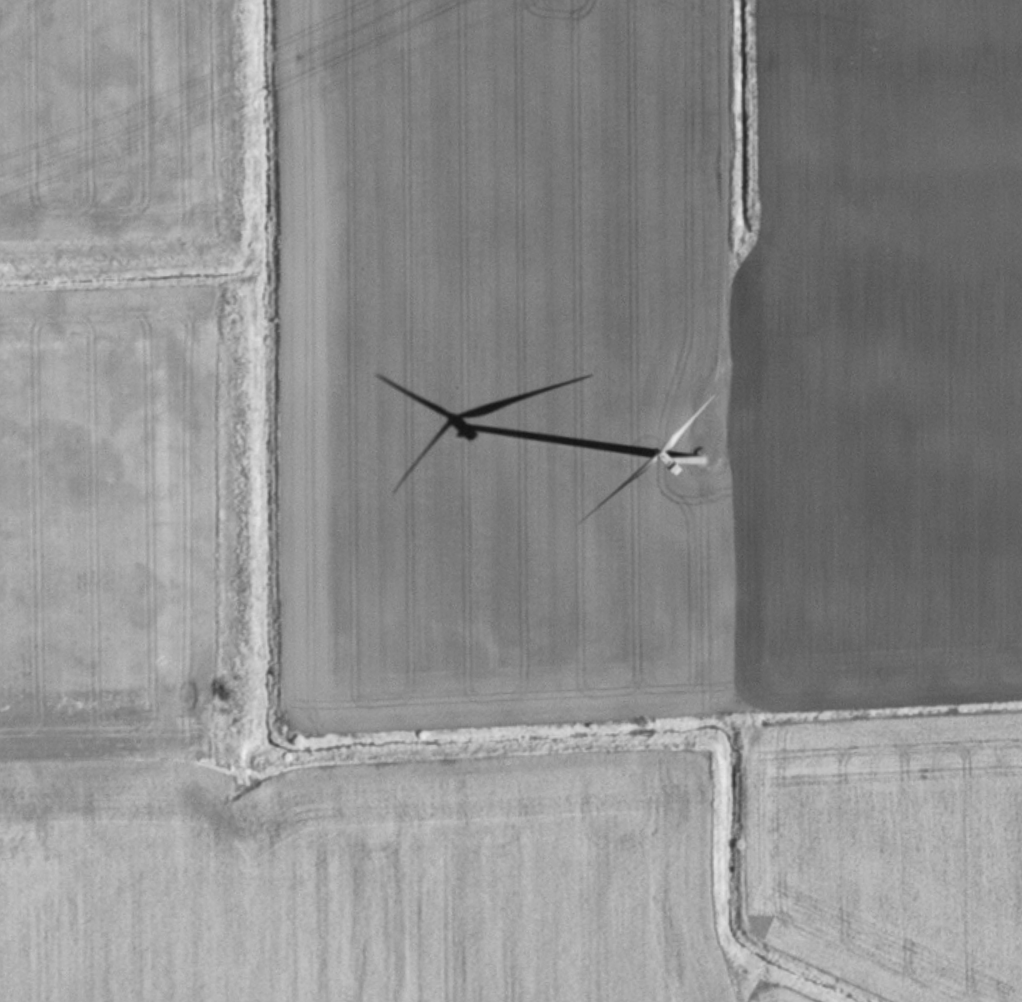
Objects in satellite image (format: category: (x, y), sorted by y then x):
road: (745, 173)
wind turbine: (706, 459)

